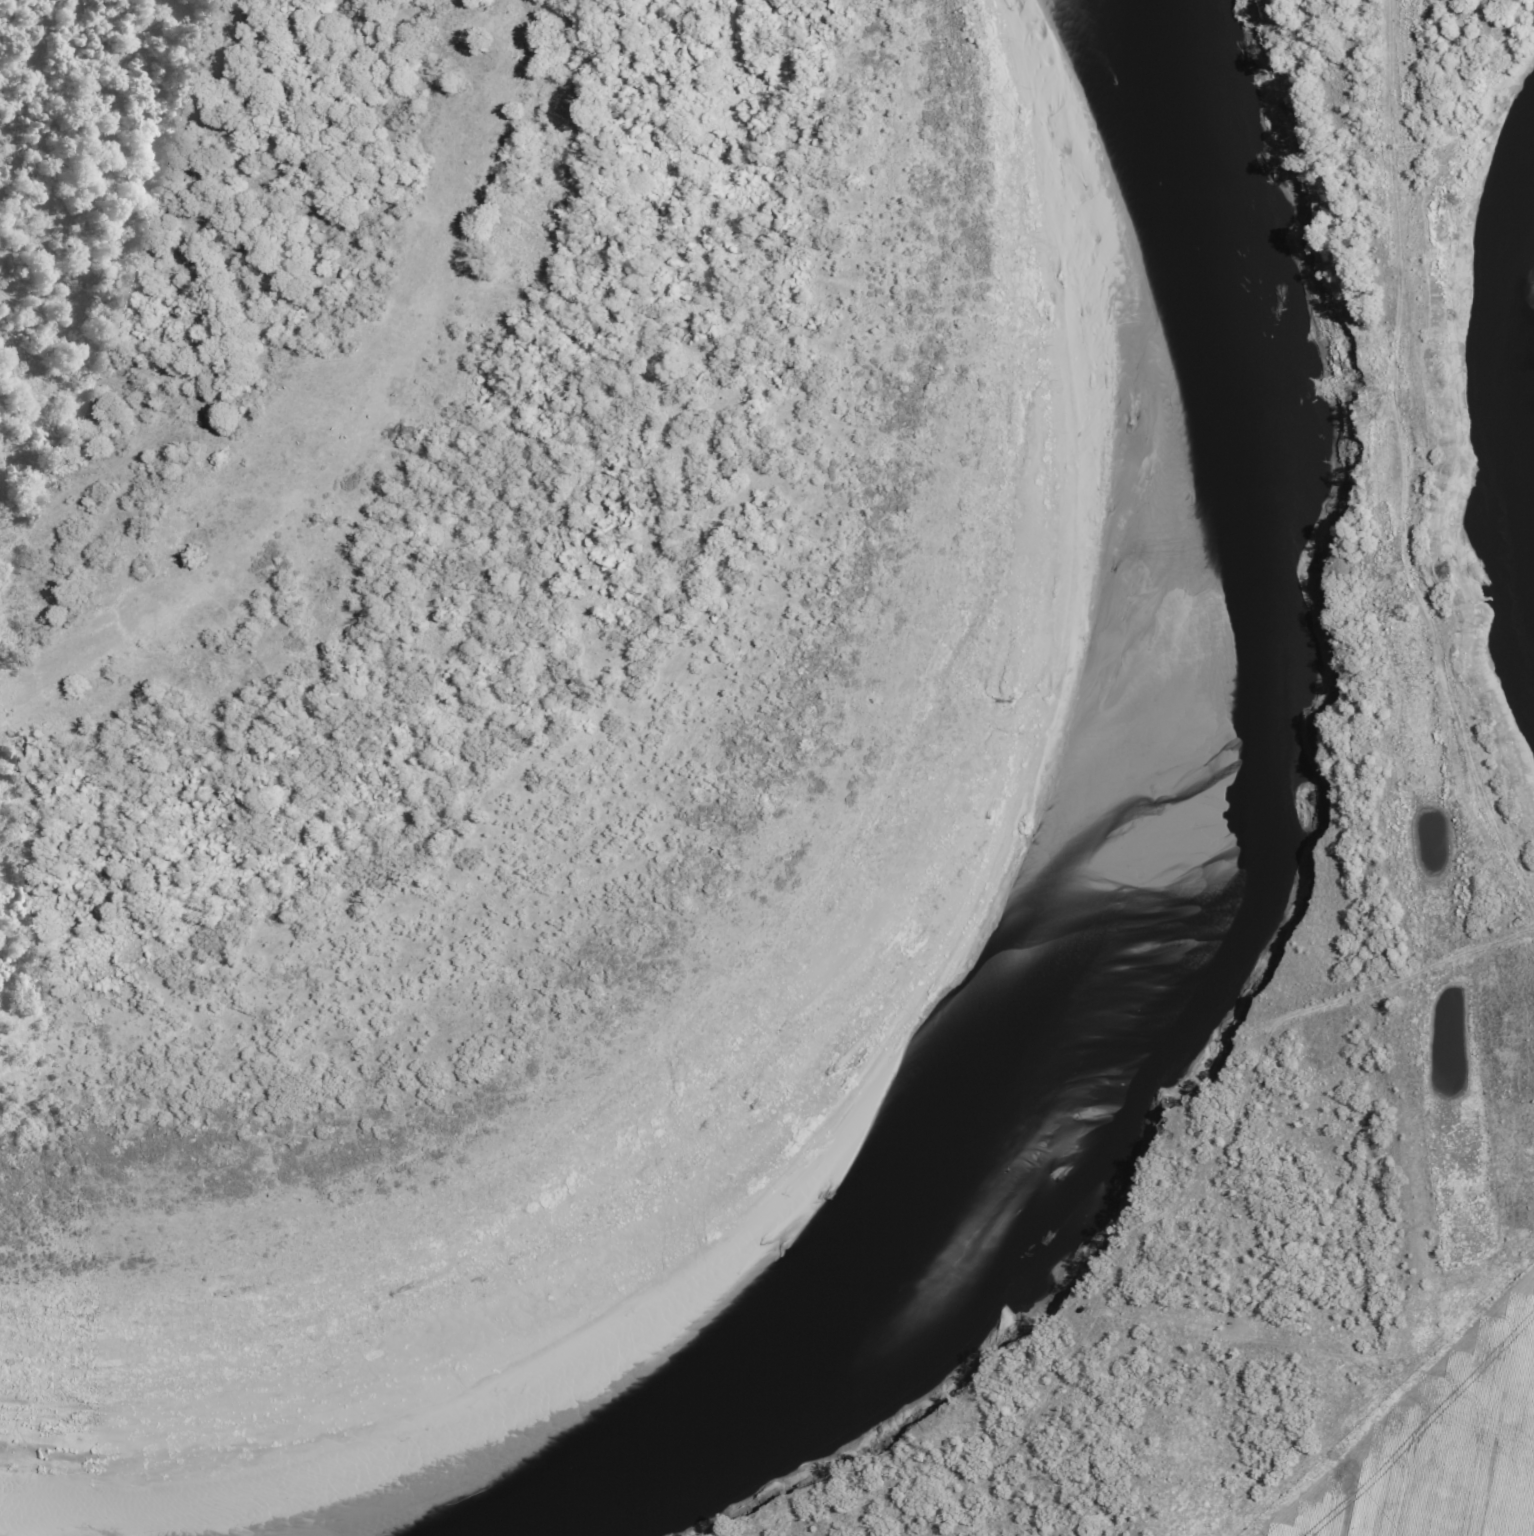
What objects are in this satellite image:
road: (1404, 464)
river: (905, 986)

